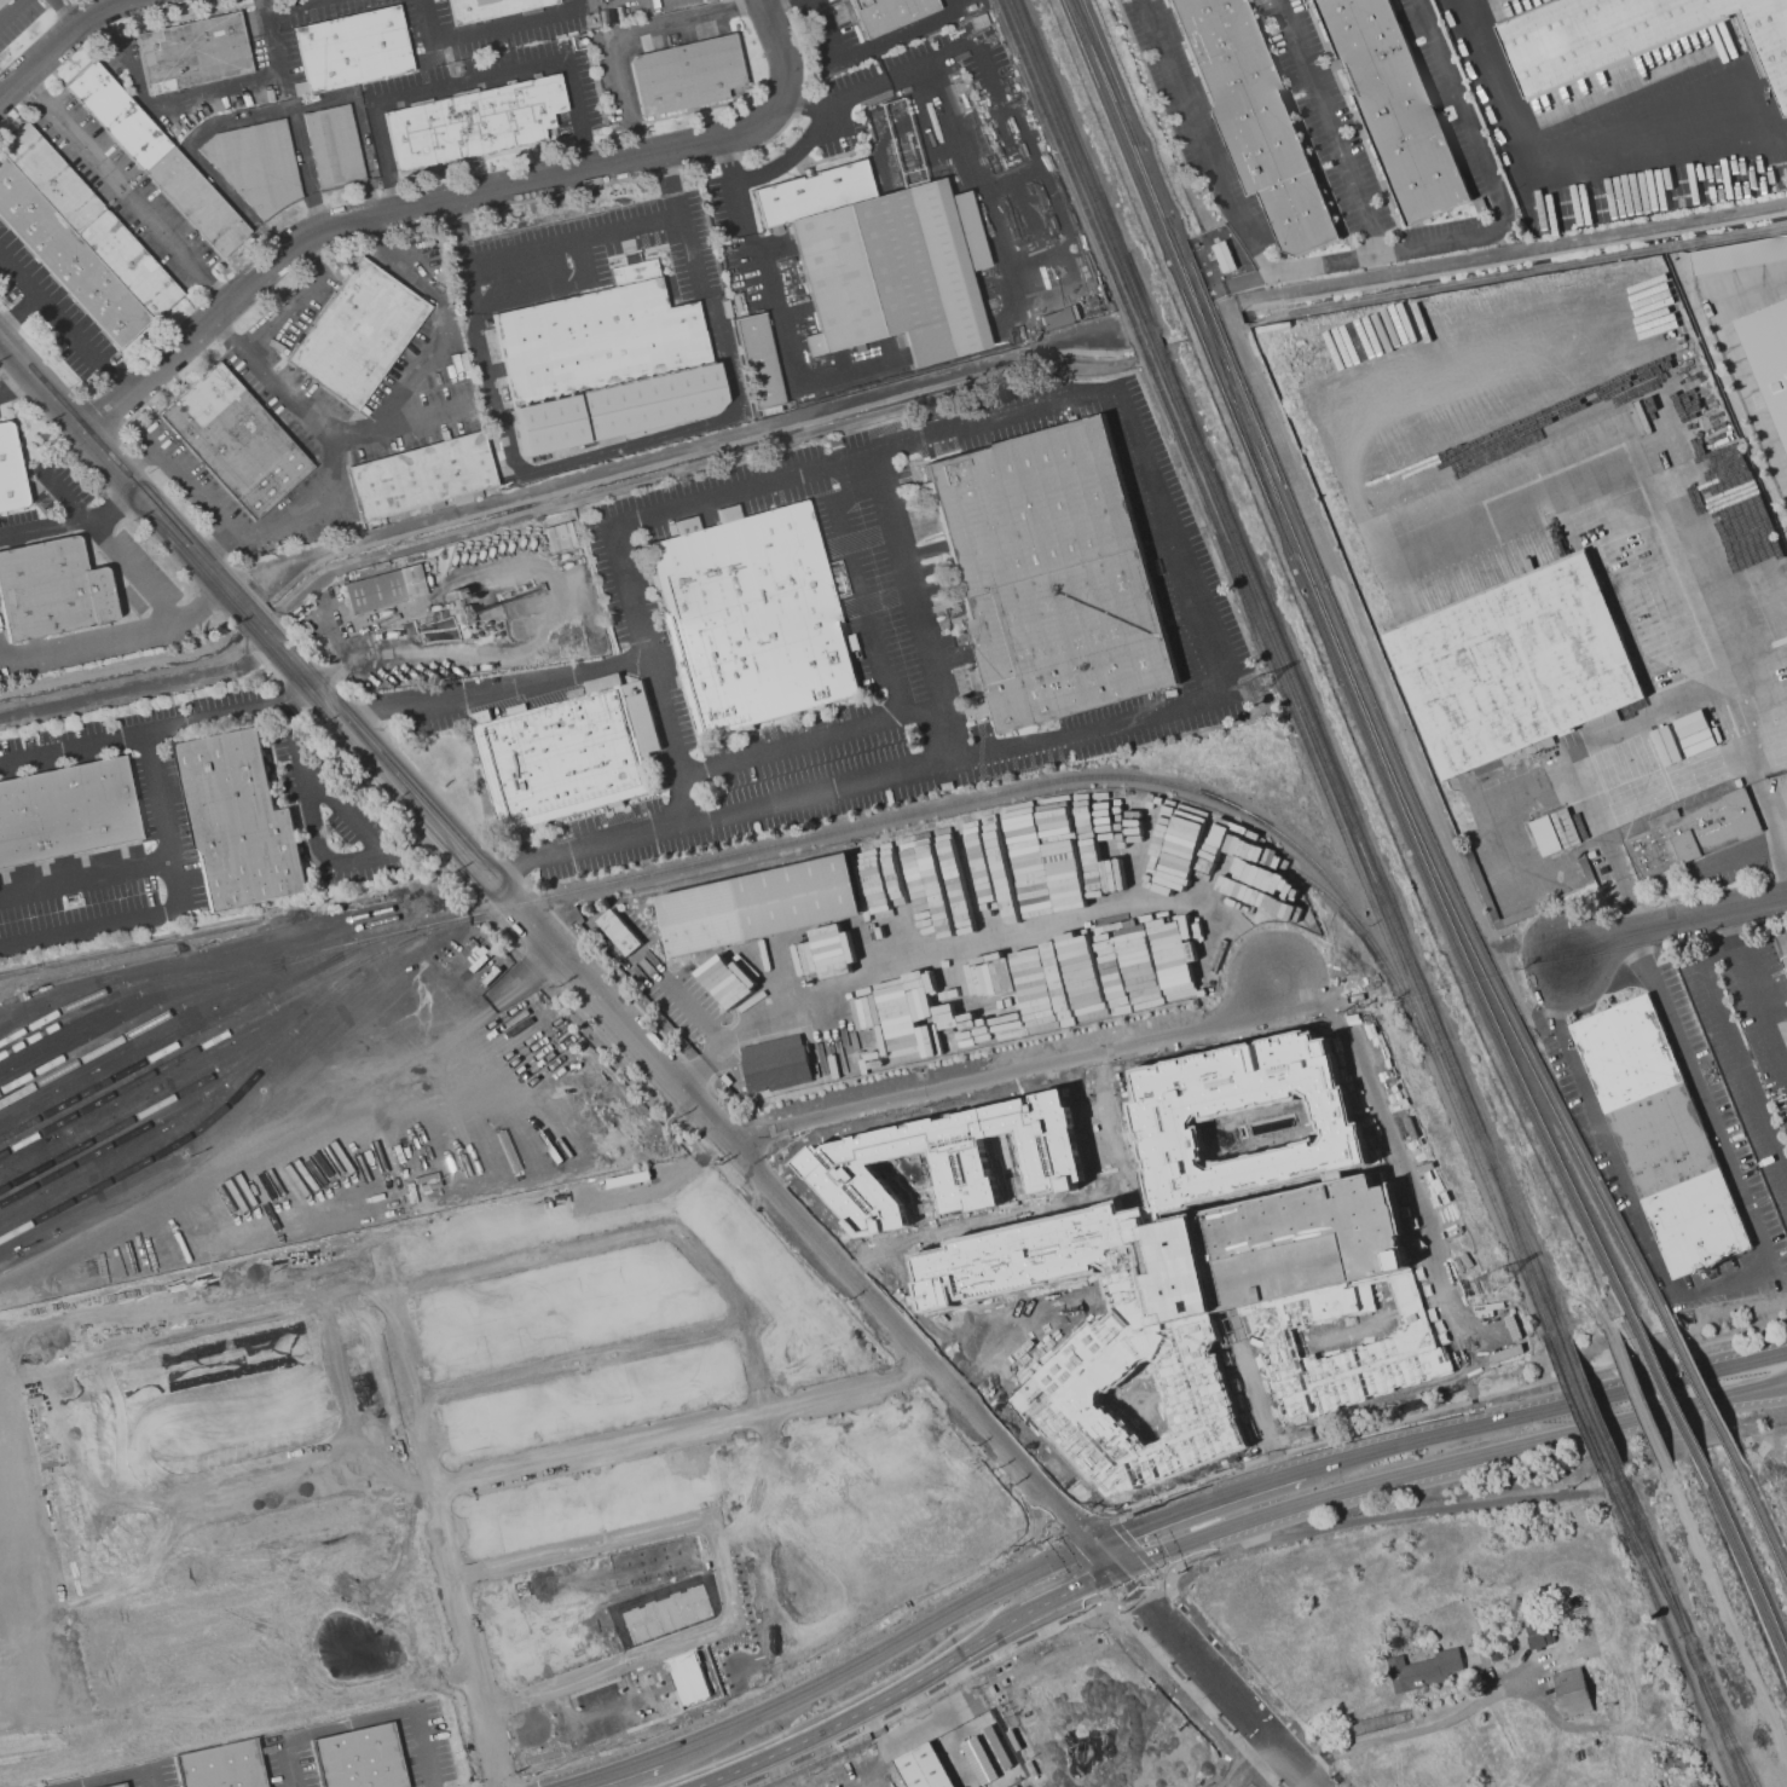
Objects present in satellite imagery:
building: (1, 1)
road: (283, 5)
road: (8, 8)
building: (490, 8)
building: (889, 13)
building: (611, 15)
building: (602, 17)
road: (490, 29)
road: (823, 31)
road: (898, 31)
road: (625, 34)
building: (1631, 35)
road: (58, 41)
road: (777, 48)
building: (351, 50)
building: (192, 53)
road: (927, 64)
railway: (1104, 73)
building: (688, 76)
road: (250, 81)
road: (468, 82)
building: (1394, 106)
building: (1254, 120)
building: (473, 122)
road: (225, 123)
road: (1331, 126)
building: (334, 146)
road: (790, 156)
building: (157, 160)
building: (255, 164)
road: (1569, 166)
road: (123, 189)
road: (964, 189)
road: (400, 209)
building: (77, 241)
road: (572, 243)
building: (1739, 255)
road: (1354, 259)
building: (878, 264)
road: (532, 290)
road: (297, 300)
building: (724, 307)
road: (19, 312)
road: (445, 314)
building: (1058, 318)
road: (63, 322)
road: (781, 322)
building: (358, 332)
building: (1768, 357)
building: (758, 360)
building: (606, 362)
road: (1735, 362)
road: (15, 384)
railway: (1228, 384)
road: (400, 420)
road: (328, 434)
building: (235, 440)
road: (646, 440)
building: (10, 472)
building: (420, 476)
road: (1786, 482)
road: (1786, 486)
road: (197, 488)
road: (114, 507)
road: (42, 525)
building: (561, 534)
road: (109, 540)
building: (377, 563)
building: (1051, 574)
road: (862, 583)
road: (1180, 583)
building: (382, 588)
building: (51, 589)
road: (915, 605)
building: (752, 618)
road: (1714, 628)
road: (115, 635)
building: (851, 642)
railway: (1285, 667)
railway: (1273, 669)
building: (1514, 669)
road: (578, 671)
railway: (1352, 671)
railway: (1341, 672)
power tower: (1251, 687)
road: (156, 727)
building: (1693, 733)
road: (809, 738)
building: (1658, 750)
building: (567, 752)
building: (945, 787)
road: (1768, 808)
building: (66, 810)
road: (1642, 816)
building: (238, 821)
building: (1554, 832)
building: (1691, 833)
road: (1781, 834)
railway: (765, 846)
road: (1781, 854)
road: (336, 867)
road: (86, 874)
railway: (1314, 885)
road: (177, 902)
building: (1546, 903)
building: (759, 907)
road: (1676, 929)
road: (1004, 938)
building: (837, 939)
road: (546, 943)
building: (476, 956)
building: (1785, 964)
railway: (114, 990)
road: (681, 1001)
road: (1759, 1016)
railway: (133, 1022)
railway: (146, 1028)
railway: (189, 1040)
road: (1729, 1041)
railway: (204, 1042)
building: (774, 1064)
road: (1008, 1076)
railway: (248, 1086)
railway: (173, 1095)
road: (1104, 1111)
railway: (150, 1121)
building: (1659, 1135)
road: (1389, 1138)
building: (948, 1159)
road: (631, 1232)
railway: (1516, 1245)
building: (1267, 1248)
power tower: (1493, 1278)
road: (1728, 1284)
road: (576, 1360)
railway: (1698, 1386)
railway: (1666, 1396)
railway: (1589, 1407)
road: (1544, 1411)
railway: (1577, 1412)
road: (679, 1432)
building: (1063, 1432)
road: (1448, 1467)
road: (1197, 1504)
railway: (1758, 1514)
road: (686, 1522)
road: (1036, 1528)
road: (436, 1531)
road: (1105, 1557)
railway: (1646, 1558)
railway: (1742, 1558)
road: (1166, 1583)
road: (1140, 1597)
road: (1053, 1600)
road: (1095, 1601)
railway: (1682, 1633)
road: (910, 1636)
building: (1537, 1636)
railway: (1669, 1636)
road: (971, 1641)
building: (1496, 1650)
building: (1421, 1671)
road: (550, 1689)
building: (1571, 1691)
road: (1237, 1705)
road: (601, 1713)
road: (891, 1714)
railway: (1178, 1719)
road: (360, 1722)
road: (816, 1725)
road: (1586, 1728)
road: (1407, 1731)
railway: (1728, 1731)
railway: (1763, 1735)
road: (692, 1742)
building: (996, 1746)
building: (359, 1757)
building: (977, 1760)
building: (220, 1765)
building: (921, 1768)
road: (613, 1771)
road: (120, 1776)
building: (120, 1786)

